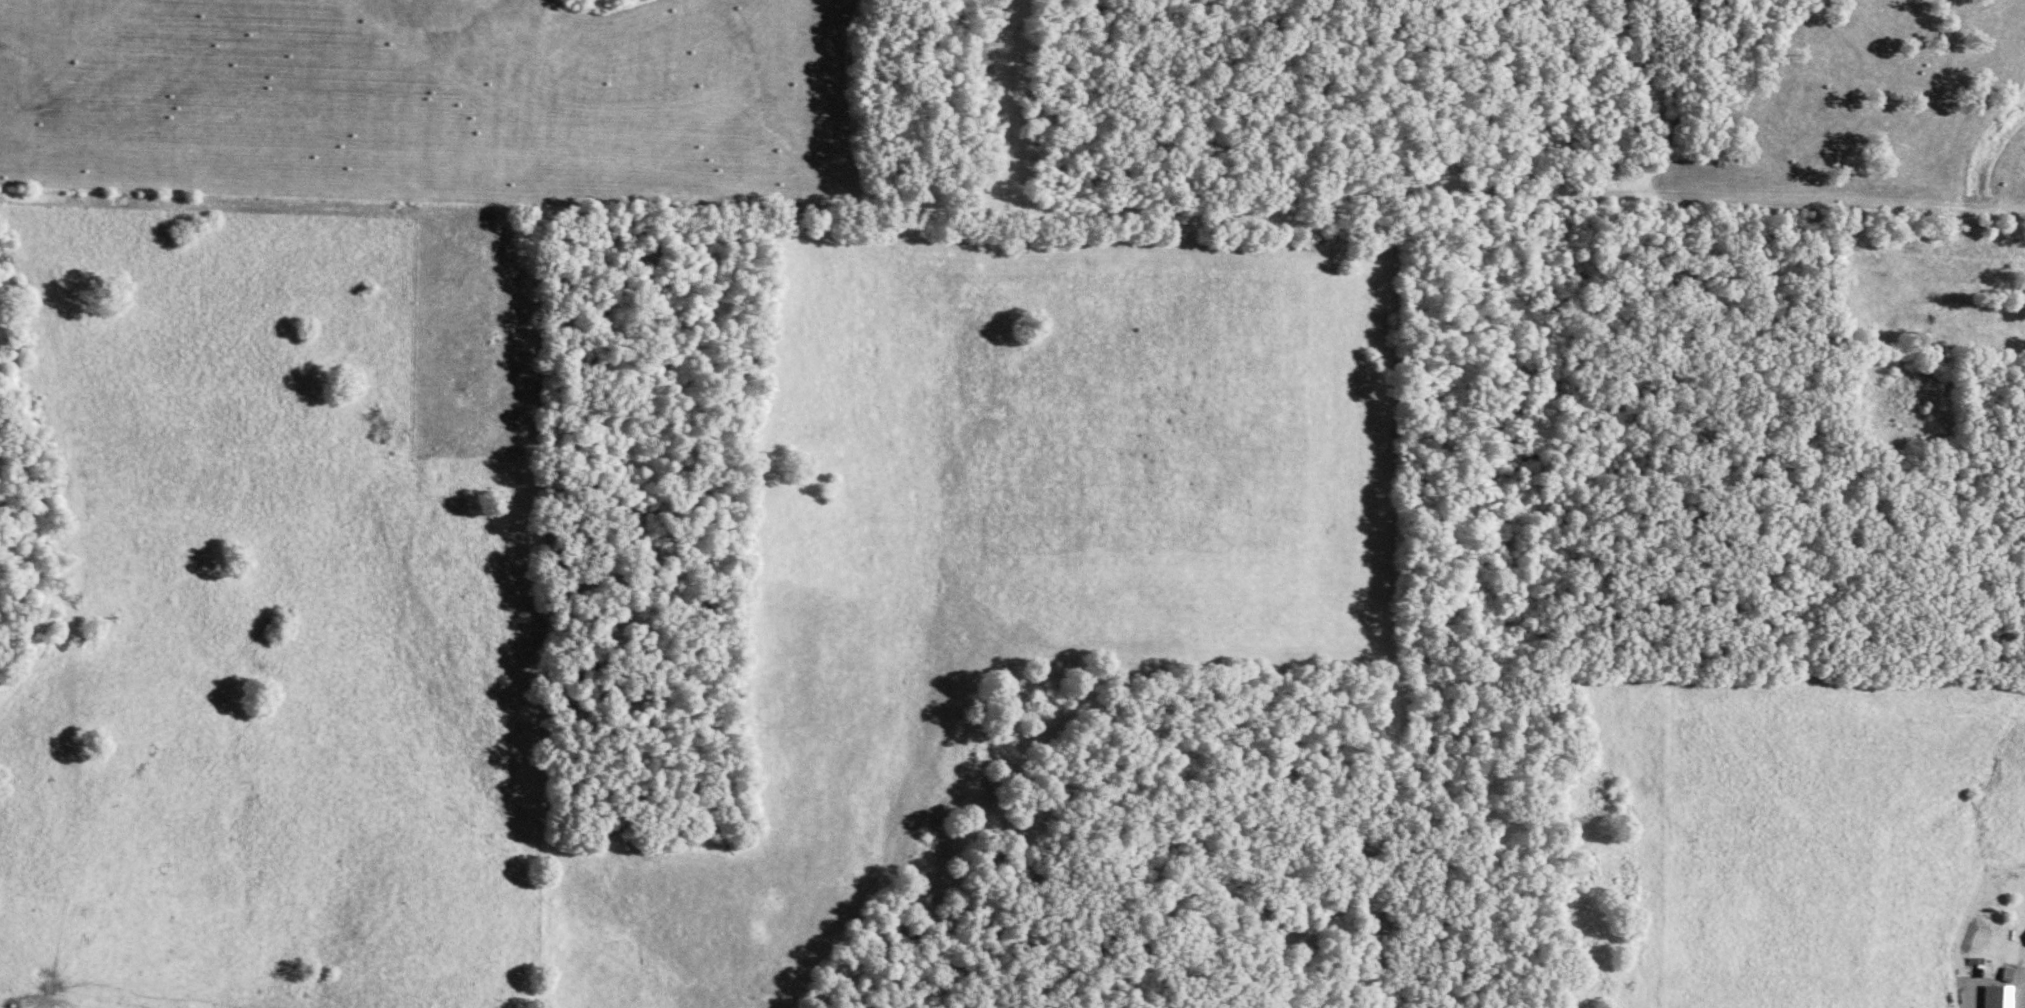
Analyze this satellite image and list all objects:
road: (2022, 985)
building: (1994, 995)

